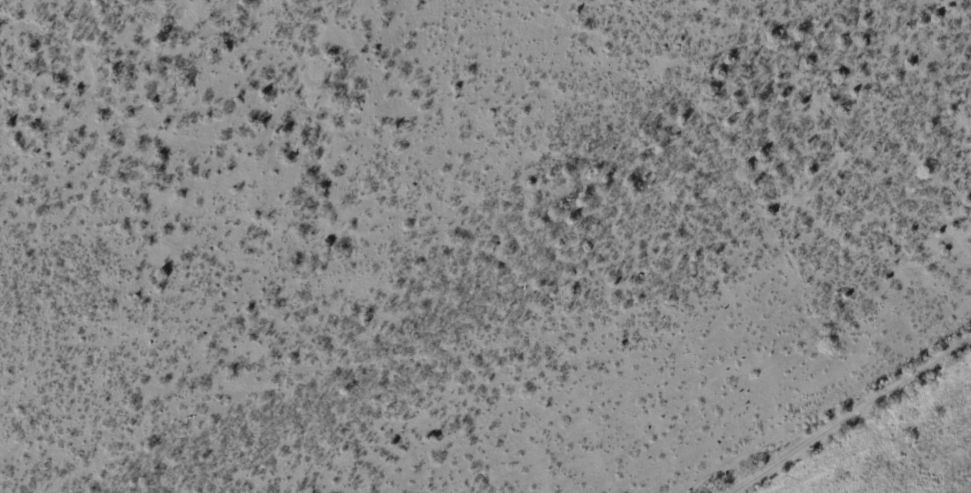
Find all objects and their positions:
road: (852, 415)

